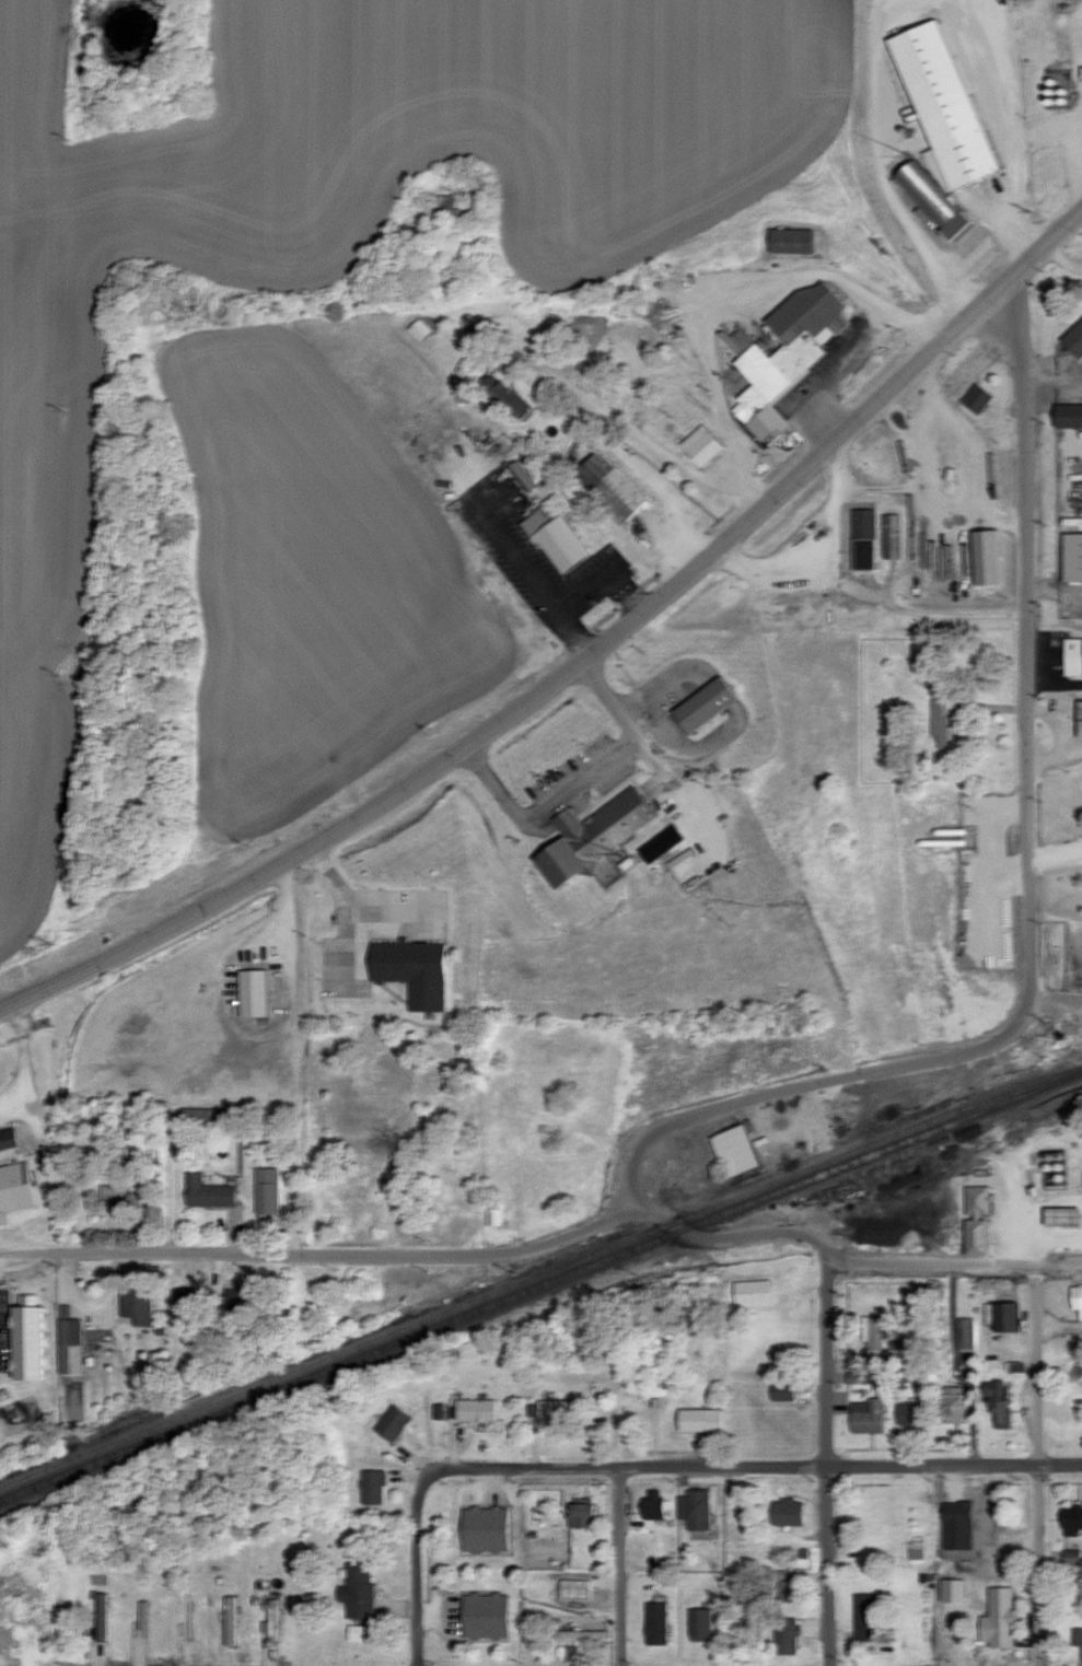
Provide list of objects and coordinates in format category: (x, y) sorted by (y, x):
building: (938, 129)
road: (1072, 156)
building: (441, 202)
building: (789, 241)
road: (717, 290)
building: (1072, 339)
building: (781, 354)
road: (1054, 373)
building: (507, 392)
building: (974, 398)
building: (1064, 416)
building: (698, 445)
building: (608, 485)
road: (969, 504)
building: (554, 533)
building: (891, 536)
building: (861, 539)
building: (985, 557)
building: (1070, 557)
road: (1055, 594)
road: (865, 599)
building: (1071, 656)
road: (581, 665)
road: (601, 677)
building: (699, 704)
building: (1078, 719)
building: (589, 836)
building: (658, 844)
road: (1057, 855)
road: (1033, 882)
road: (348, 904)
road: (289, 946)
building: (418, 970)
building: (260, 993)
building: (474, 1064)
road: (12, 1099)
building: (203, 1117)
road: (38, 1137)
building: (11, 1139)
building: (732, 1149)
building: (18, 1190)
building: (271, 1190)
building: (212, 1192)
building: (118, 1195)
road: (1040, 1200)
building: (1056, 1215)
building: (497, 1216)
building: (973, 1219)
road: (689, 1232)
road: (324, 1257)
road: (909, 1265)
railway: (539, 1273)
railway: (539, 1284)
building: (754, 1292)
building: (1075, 1298)
building: (245, 1300)
building: (142, 1304)
building: (190, 1306)
building: (1004, 1316)
building: (874, 1331)
building: (966, 1332)
building: (36, 1342)
building: (74, 1347)
building: (781, 1391)
building: (997, 1402)
building: (951, 1405)
building: (475, 1409)
building: (561, 1410)
building: (908, 1414)
building: (865, 1415)
building: (700, 1420)
building: (391, 1423)
road: (827, 1460)
road: (1042, 1465)
road: (763, 1467)
building: (371, 1487)
building: (653, 1505)
building: (693, 1510)
building: (787, 1512)
building: (577, 1513)
building: (1070, 1518)
building: (955, 1525)
building: (481, 1528)
road: (416, 1559)
road: (620, 1566)
building: (356, 1589)
building: (788, 1591)
building: (951, 1591)
building: (480, 1615)
building: (869, 1615)
building: (105, 1617)
building: (998, 1618)
building: (276, 1620)
building: (235, 1621)
building: (698, 1622)
building: (653, 1623)
road: (31, 1633)
building: (784, 1635)
building: (1078, 1636)
building: (569, 1653)

